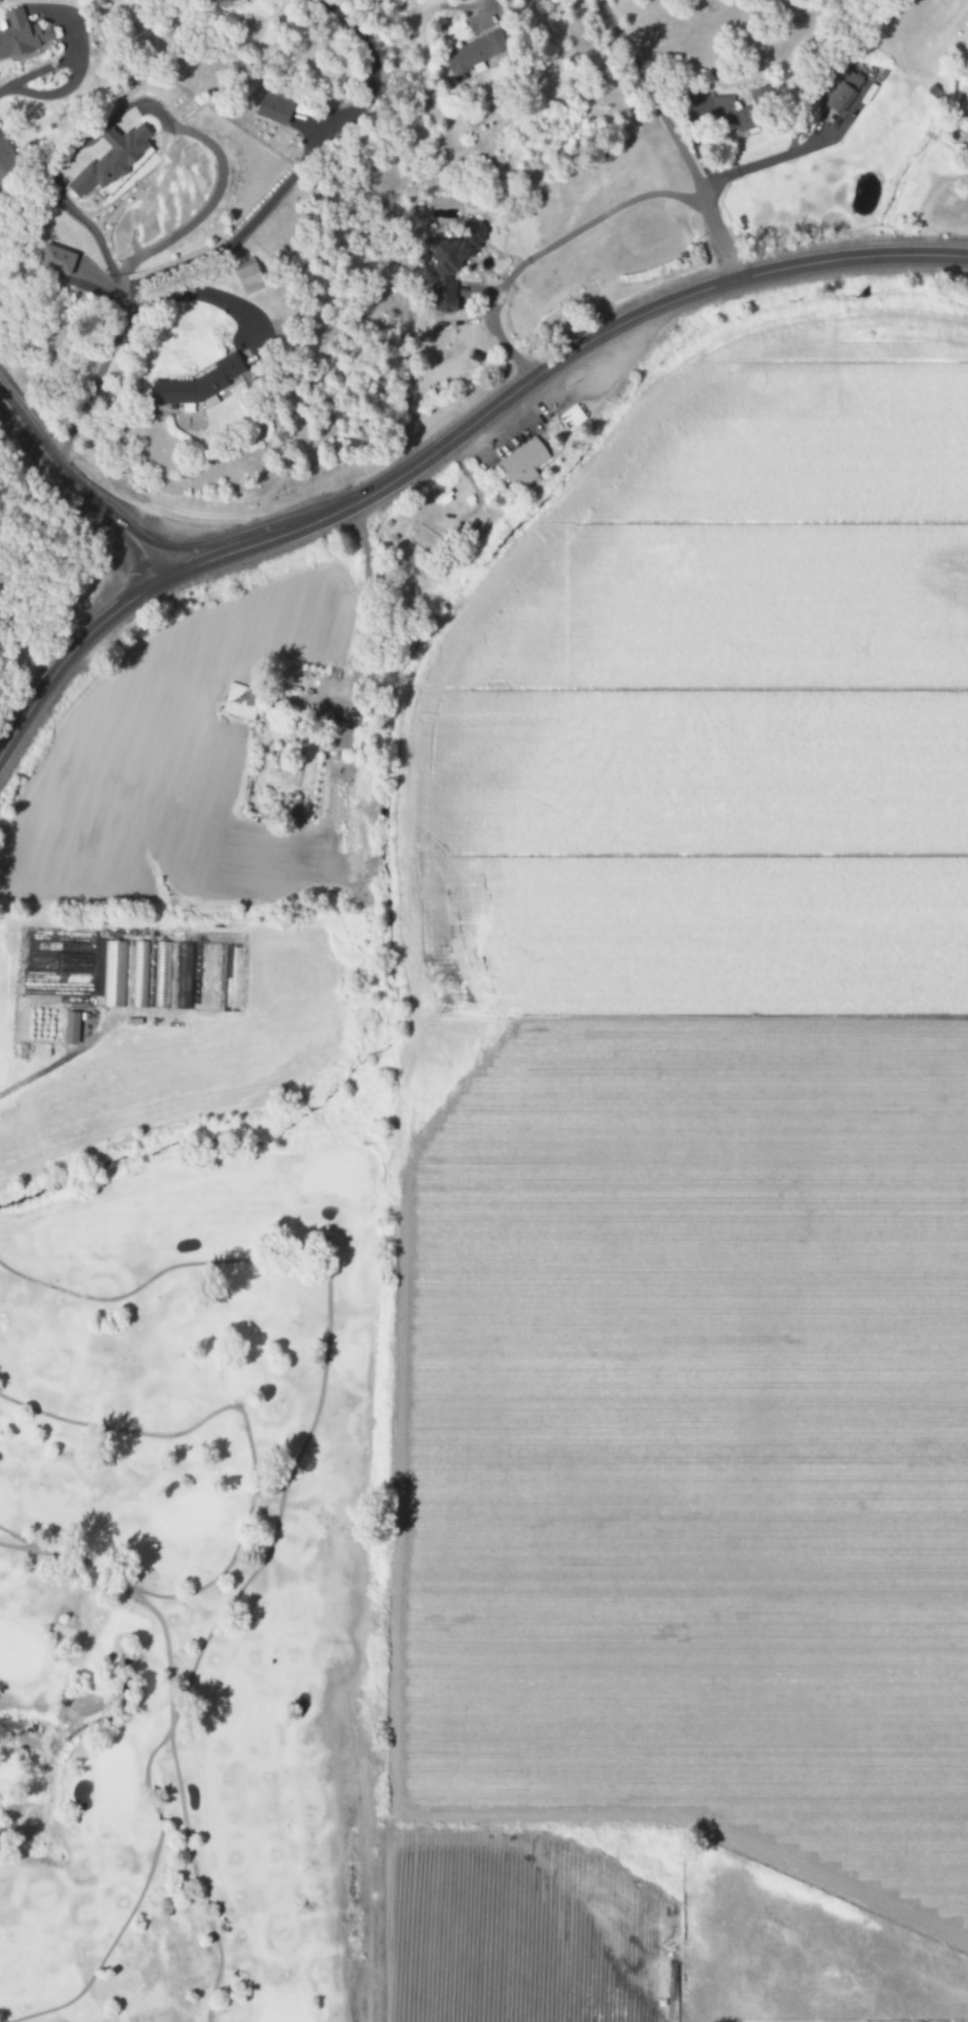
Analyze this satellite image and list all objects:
building: (220, 1)
building: (21, 35)
building: (469, 55)
building: (840, 90)
building: (274, 108)
building: (731, 114)
road: (675, 136)
building: (6, 157)
building: (114, 162)
road: (152, 164)
building: (57, 260)
building: (452, 264)
building: (248, 276)
building: (198, 384)
building: (571, 417)
road: (449, 439)
building: (523, 463)
road: (78, 491)
building: (423, 538)
building: (241, 696)
building: (343, 739)
building: (294, 806)
building: (114, 975)
building: (140, 975)
building: (162, 976)
building: (185, 976)
building: (70, 1029)
crop: (696, 1220)
road: (328, 1339)
road: (244, 1420)
road: (38, 1546)
road: (134, 1597)
road: (195, 1879)
road: (138, 1900)

